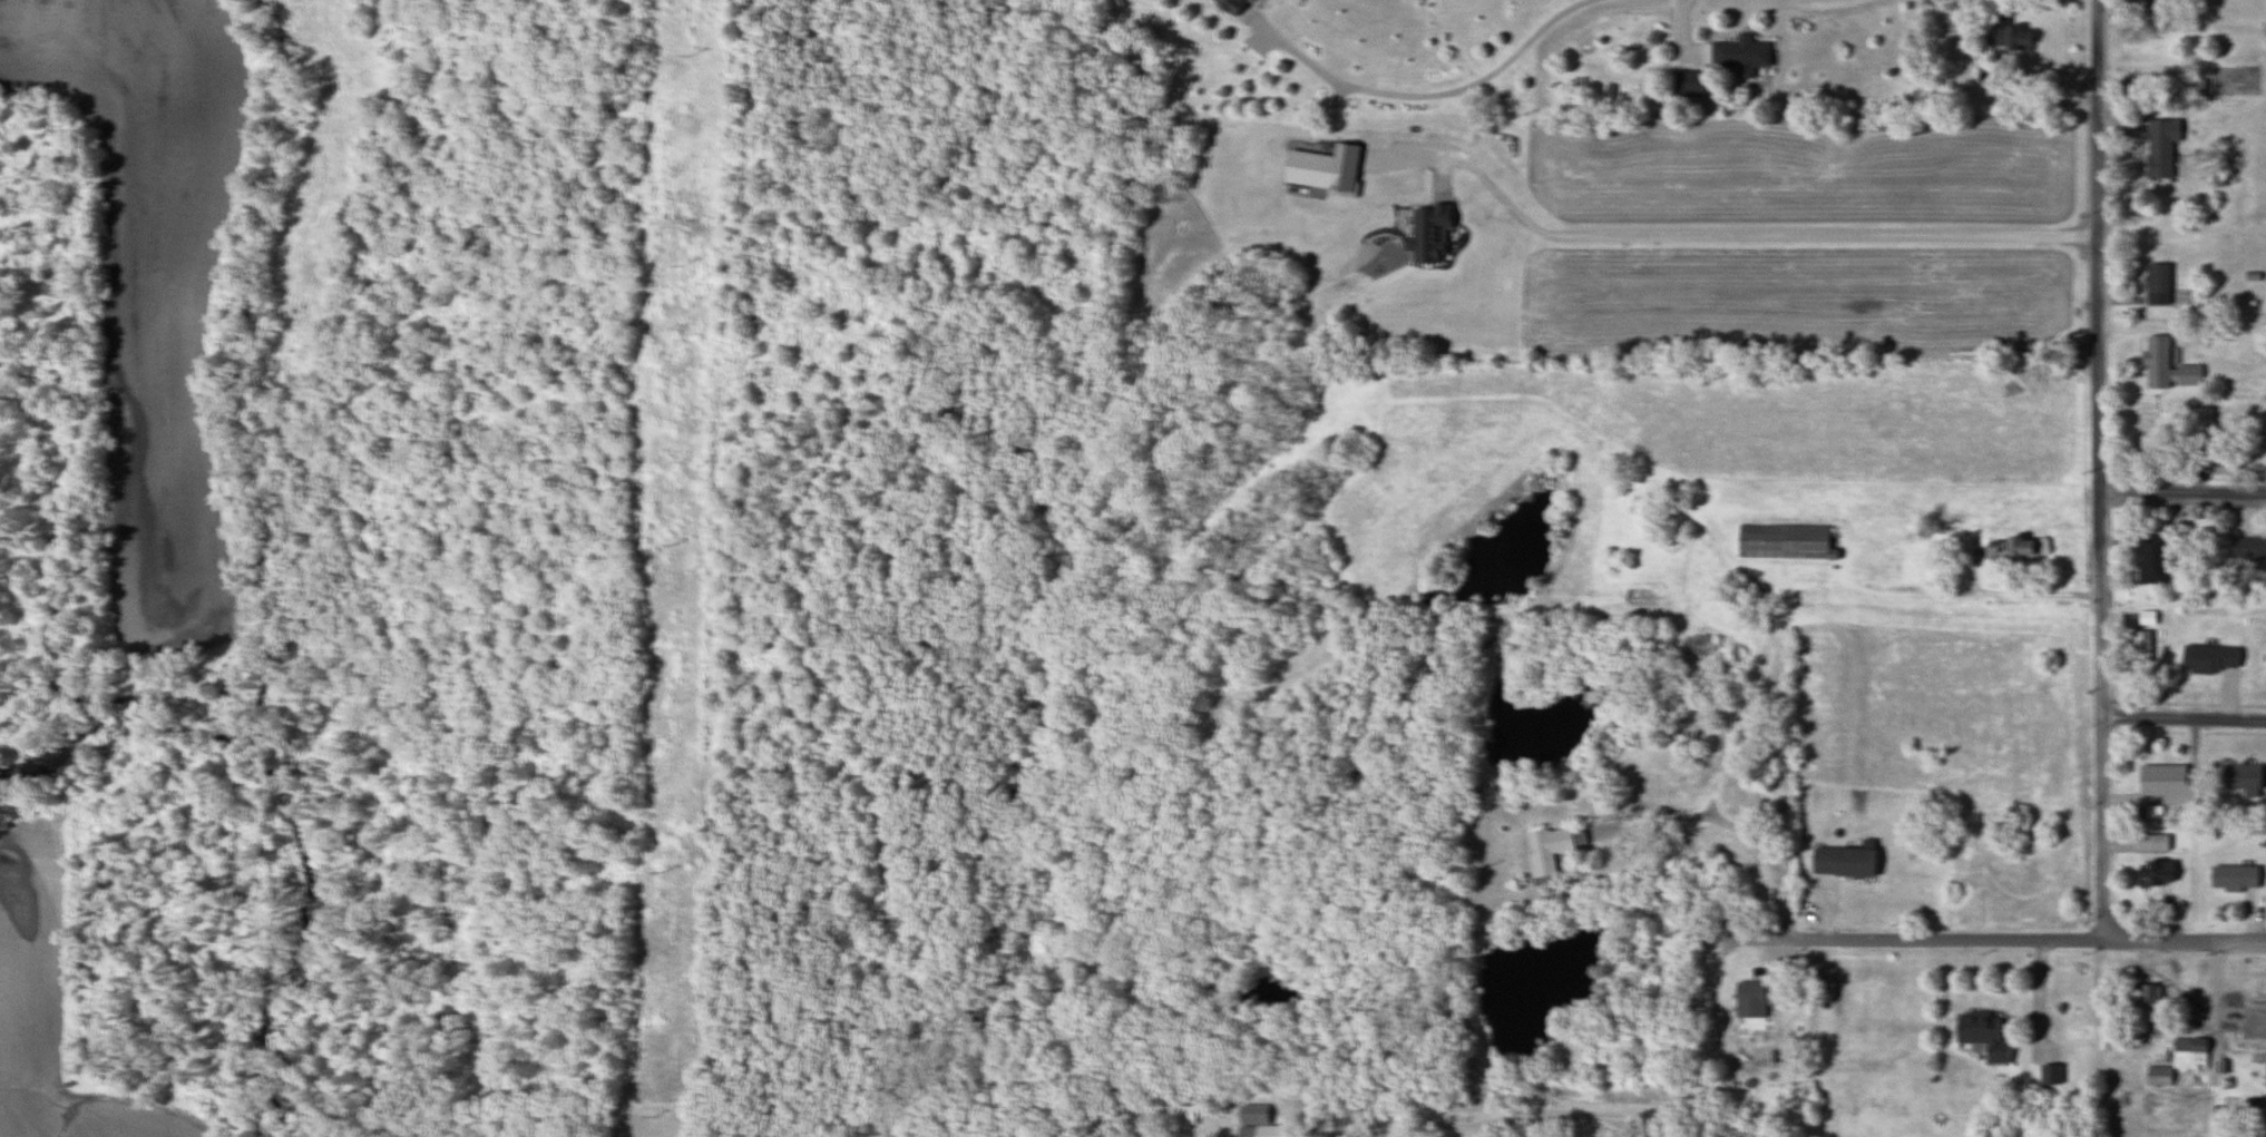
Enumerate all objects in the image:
building: (2136, 2)
building: (1228, 6)
building: (2010, 39)
building: (1739, 56)
building: (1687, 85)
road: (1426, 96)
building: (2159, 147)
building: (2156, 284)
building: (2165, 366)
building: (2201, 418)
building: (2146, 429)
road: (2099, 471)
road: (2182, 497)
building: (1781, 542)
building: (2011, 550)
building: (2249, 550)
building: (2150, 559)
road: (1774, 628)
building: (2141, 647)
road: (2184, 718)
building: (2239, 778)
building: (2165, 784)
road: (1710, 807)
road: (1610, 839)
building: (2151, 842)
building: (1550, 847)
building: (1840, 860)
building: (2151, 872)
building: (2231, 878)
road: (1855, 940)
road: (2094, 941)
building: (1749, 993)
building: (2146, 1003)
building: (1981, 1035)
building: (2189, 1052)
building: (2265, 1070)
building: (2049, 1075)
building: (2157, 1076)
building: (1188, 1114)
road: (1605, 1119)
building: (1256, 1120)
building: (2263, 1127)
road: (1609, 1128)

